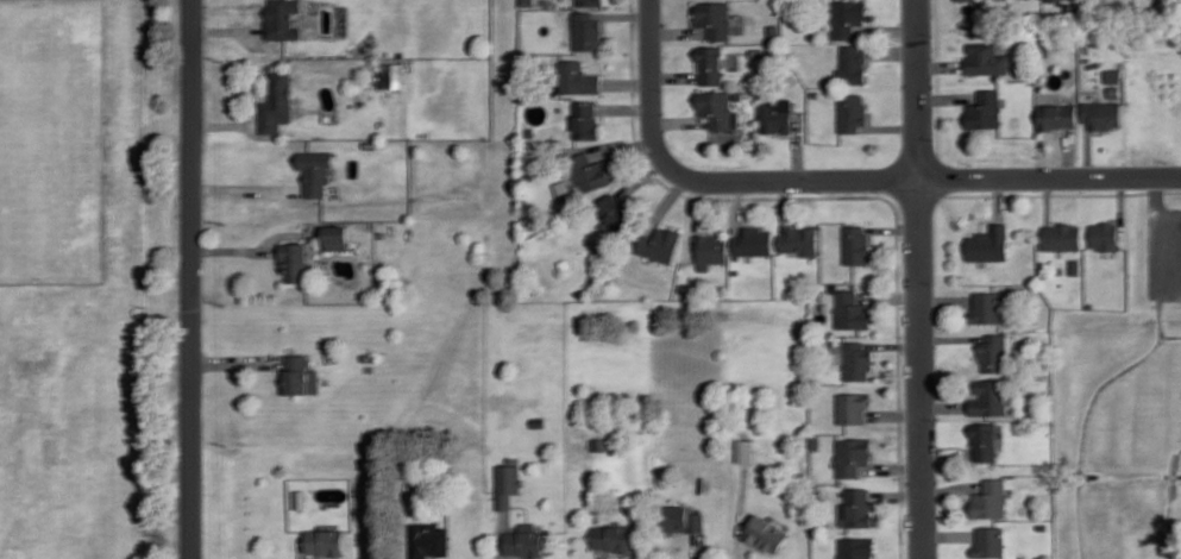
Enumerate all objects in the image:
building: (965, 0)
building: (527, 1)
building: (590, 1)
road: (623, 14)
building: (847, 15)
building: (715, 17)
building: (281, 19)
road: (214, 30)
building: (586, 30)
road: (888, 30)
road: (678, 31)
building: (774, 31)
street lamp: (899, 38)
building: (1044, 48)
building: (758, 50)
road: (896, 51)
building: (986, 57)
building: (711, 63)
building: (853, 63)
road: (941, 64)
building: (1022, 71)
building: (1114, 74)
building: (389, 75)
road: (674, 75)
building: (577, 76)
road: (938, 77)
road: (627, 82)
street lamp: (664, 89)
building: (1116, 89)
building: (816, 93)
road: (947, 96)
building: (277, 100)
building: (716, 106)
road: (965, 106)
road: (624, 108)
building: (986, 108)
building: (853, 111)
building: (1104, 113)
building: (1058, 114)
road: (602, 115)
building: (775, 117)
building: (585, 119)
road: (679, 120)
road: (221, 124)
road: (890, 126)
building: (528, 130)
road: (1060, 130)
road: (1098, 131)
park: (50, 139)
road: (611, 143)
road: (796, 144)
road: (1088, 149)
road: (1069, 151)
building: (315, 169)
building: (589, 170)
road: (640, 177)
road: (837, 178)
road: (244, 187)
street lamp: (693, 191)
street lamp: (823, 191)
road: (1064, 193)
road: (861, 195)
road: (999, 199)
road: (1048, 199)
road: (665, 201)
road: (784, 205)
road: (739, 206)
road: (1123, 206)
building: (616, 211)
road: (696, 216)
road: (982, 219)
road: (893, 228)
road: (1161, 232)
building: (1063, 234)
building: (1107, 234)
building: (335, 235)
building: (800, 239)
building: (753, 240)
building: (659, 243)
building: (856, 243)
building: (990, 243)
building: (711, 249)
road: (232, 250)
parking lot: (1166, 252)
building: (294, 259)
building: (1076, 265)
building: (833, 270)
road: (190, 278)
building: (615, 278)
road: (919, 279)
park: (80, 281)
building: (684, 287)
road: (890, 296)
road: (947, 300)
building: (987, 306)
building: (852, 309)
road: (1161, 314)
road: (1171, 333)
street lamp: (904, 335)
road: (953, 337)
road: (894, 344)
building: (994, 351)
building: (858, 359)
road: (234, 360)
building: (295, 372)
building: (1036, 383)
building: (991, 395)
road: (946, 404)
building: (853, 406)
road: (896, 414)
building: (539, 420)
road: (1085, 429)
building: (985, 439)
building: (816, 440)
building: (603, 442)
building: (747, 450)
road: (946, 452)
building: (853, 453)
road: (892, 467)
building: (508, 483)
road: (953, 488)
road: (897, 495)
building: (297, 497)
building: (992, 498)
road: (1169, 498)
road: (524, 505)
building: (856, 508)
building: (684, 517)
building: (1043, 526)
building: (766, 530)
road: (950, 534)
road: (501, 535)
building: (614, 536)
building: (428, 539)
building: (323, 540)
building: (526, 540)
building: (991, 540)
road: (697, 546)
building: (856, 547)
road: (742, 548)
road: (603, 554)
road: (875, 554)
road: (313, 557)
road: (514, 557)

